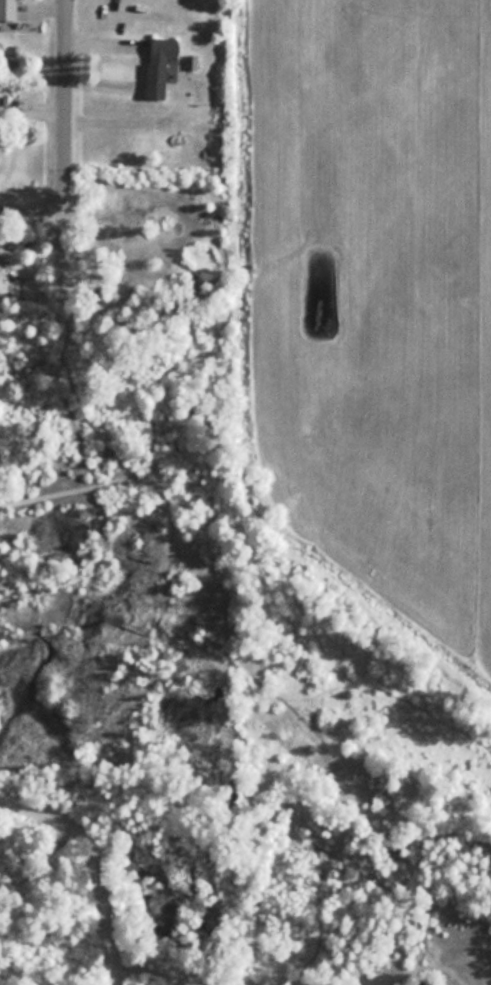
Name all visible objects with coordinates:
building: (9, 8)
building: (160, 64)
road: (65, 132)
road: (57, 954)

